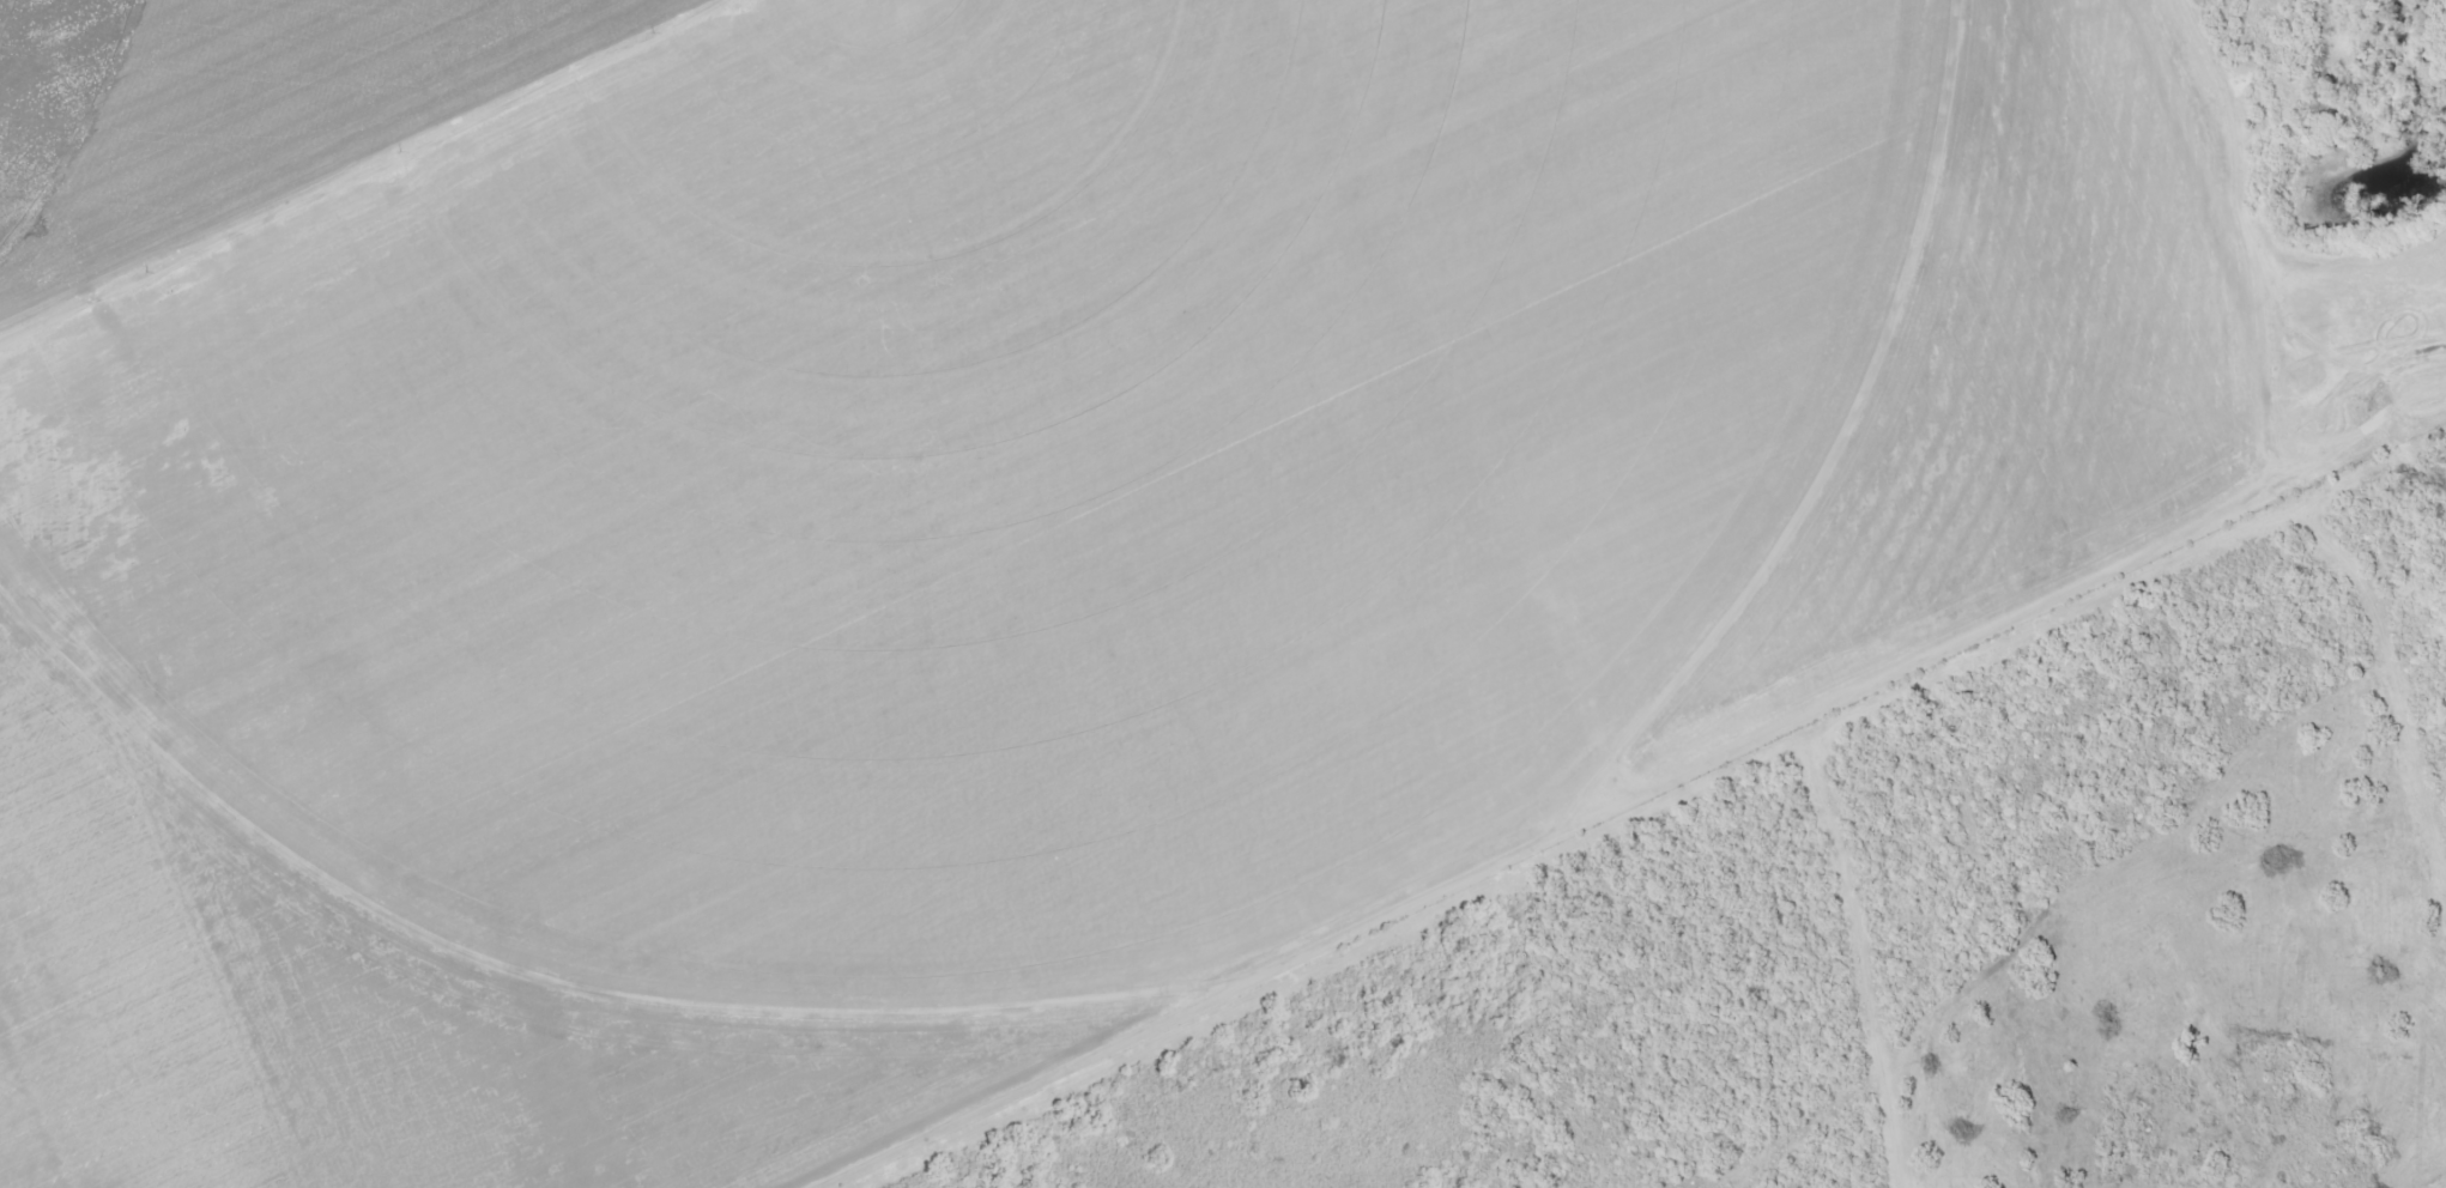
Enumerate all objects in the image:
road: (1635, 795)

